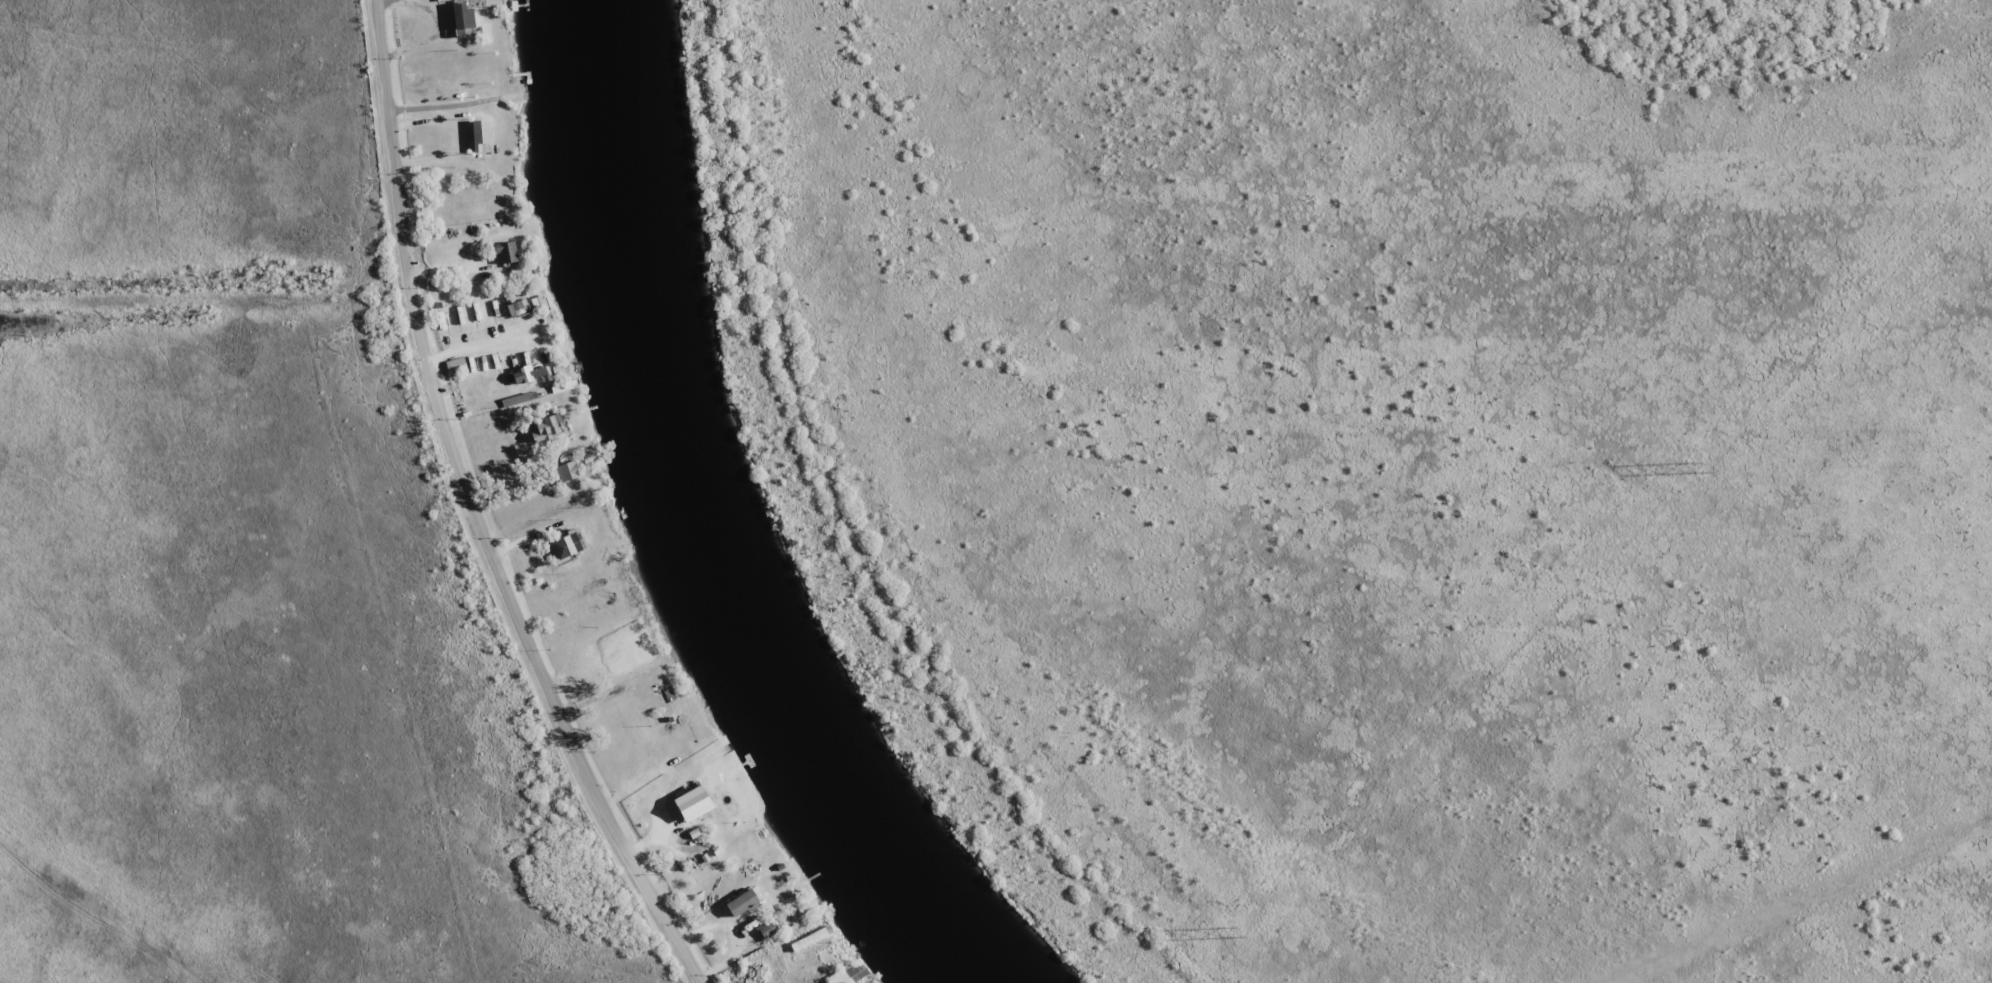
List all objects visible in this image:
building: (527, 374)
building: (548, 428)
power tower: (1695, 466)
building: (568, 471)
road: (473, 511)
river: (702, 520)
building: (566, 546)
building: (688, 806)
building: (742, 903)
building: (722, 912)
building: (767, 930)
power tower: (1231, 930)
building: (848, 974)

